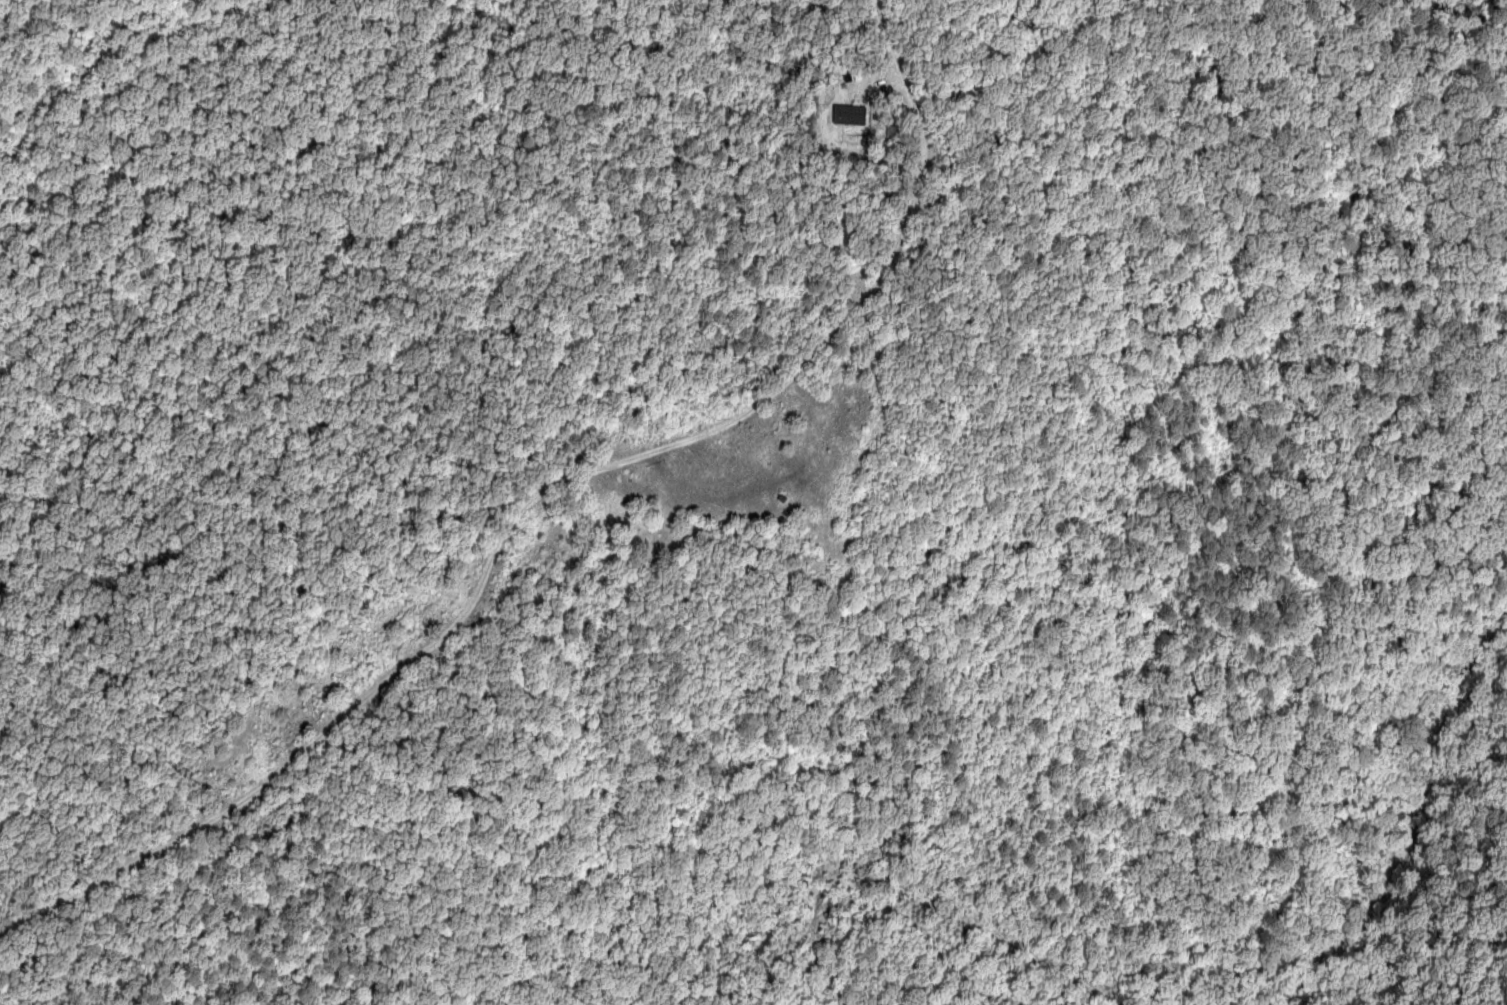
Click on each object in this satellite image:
road: (543, 495)

